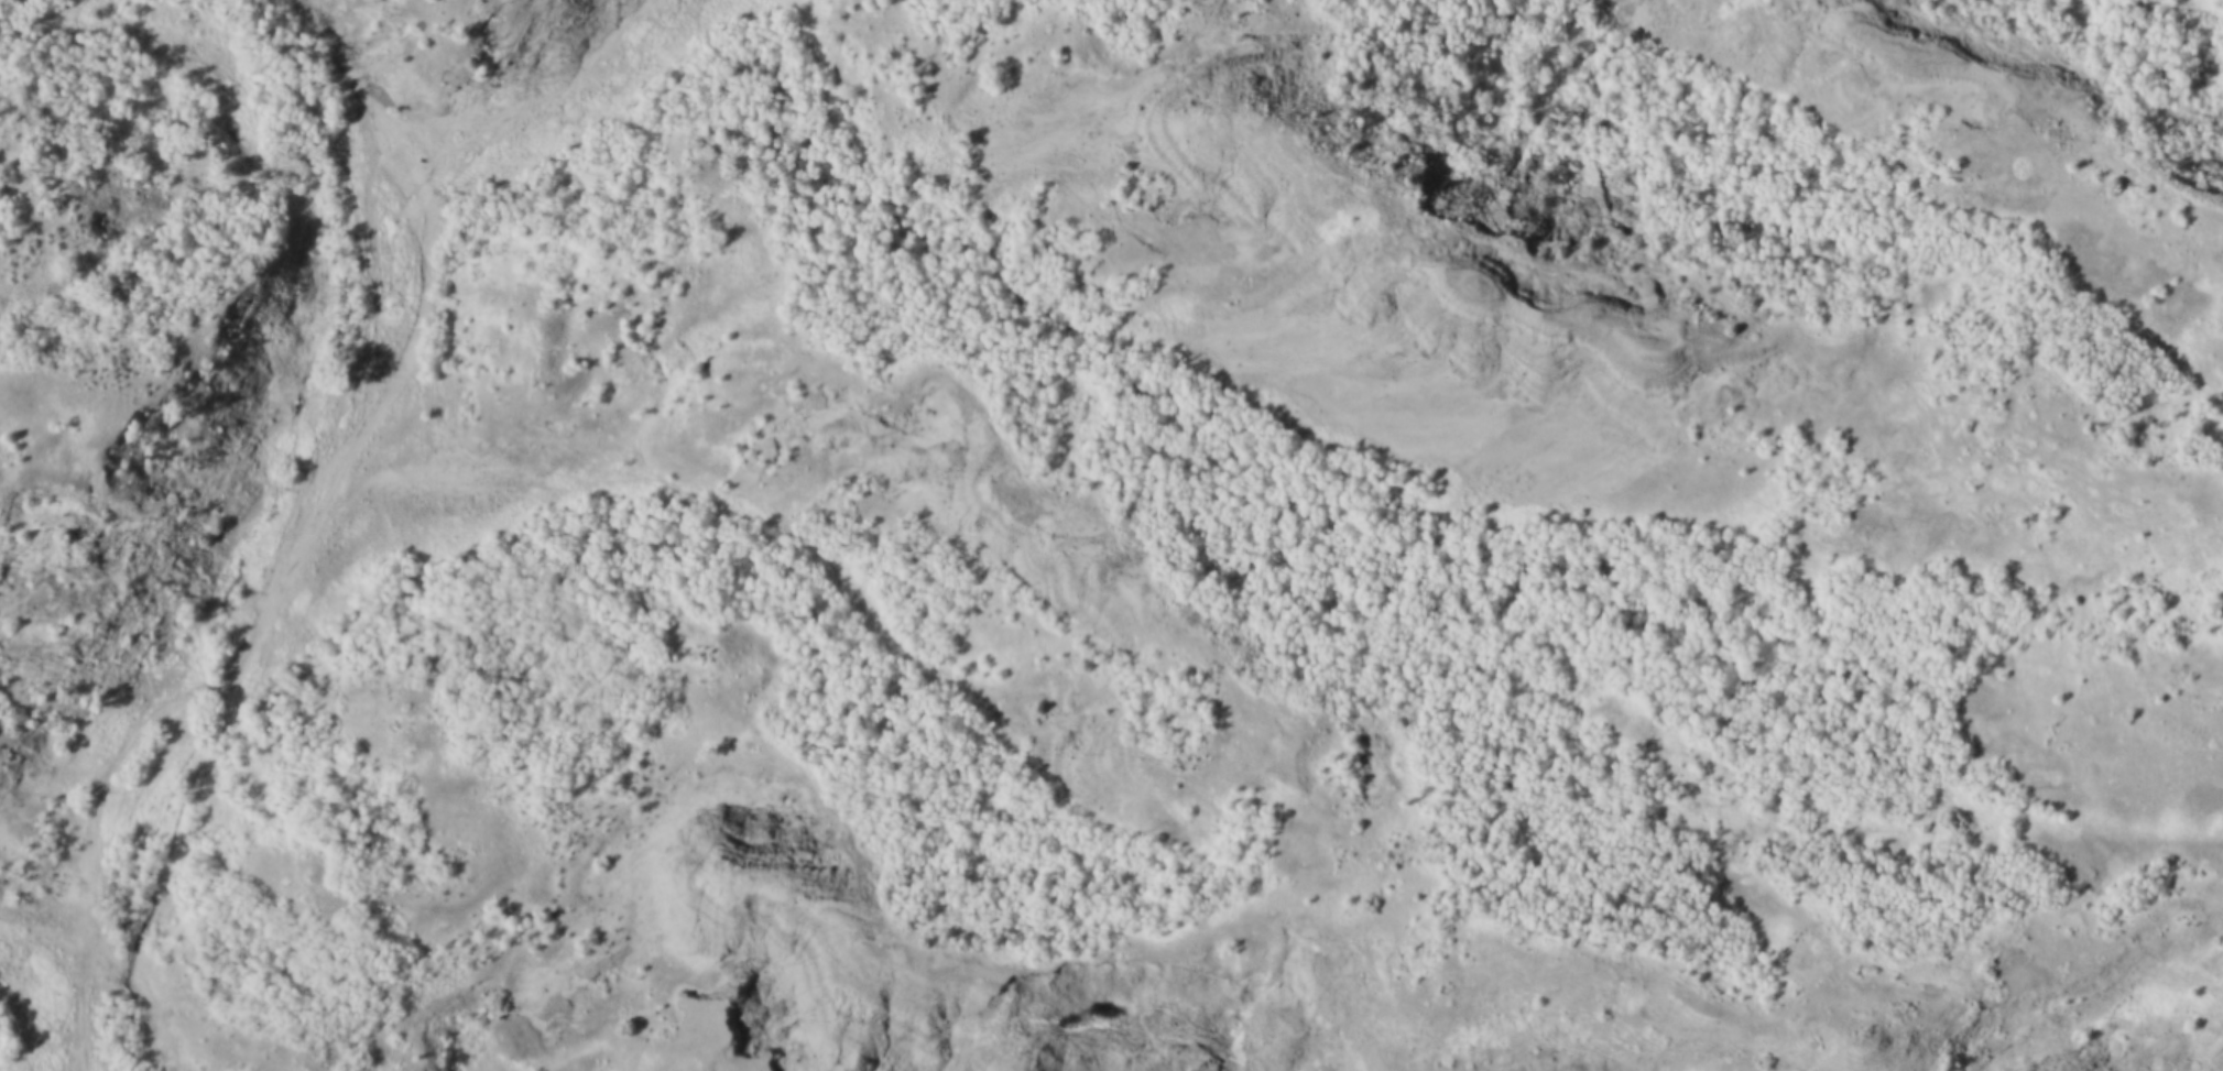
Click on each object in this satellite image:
road: (402, 97)
road: (266, 602)
road: (148, 995)

